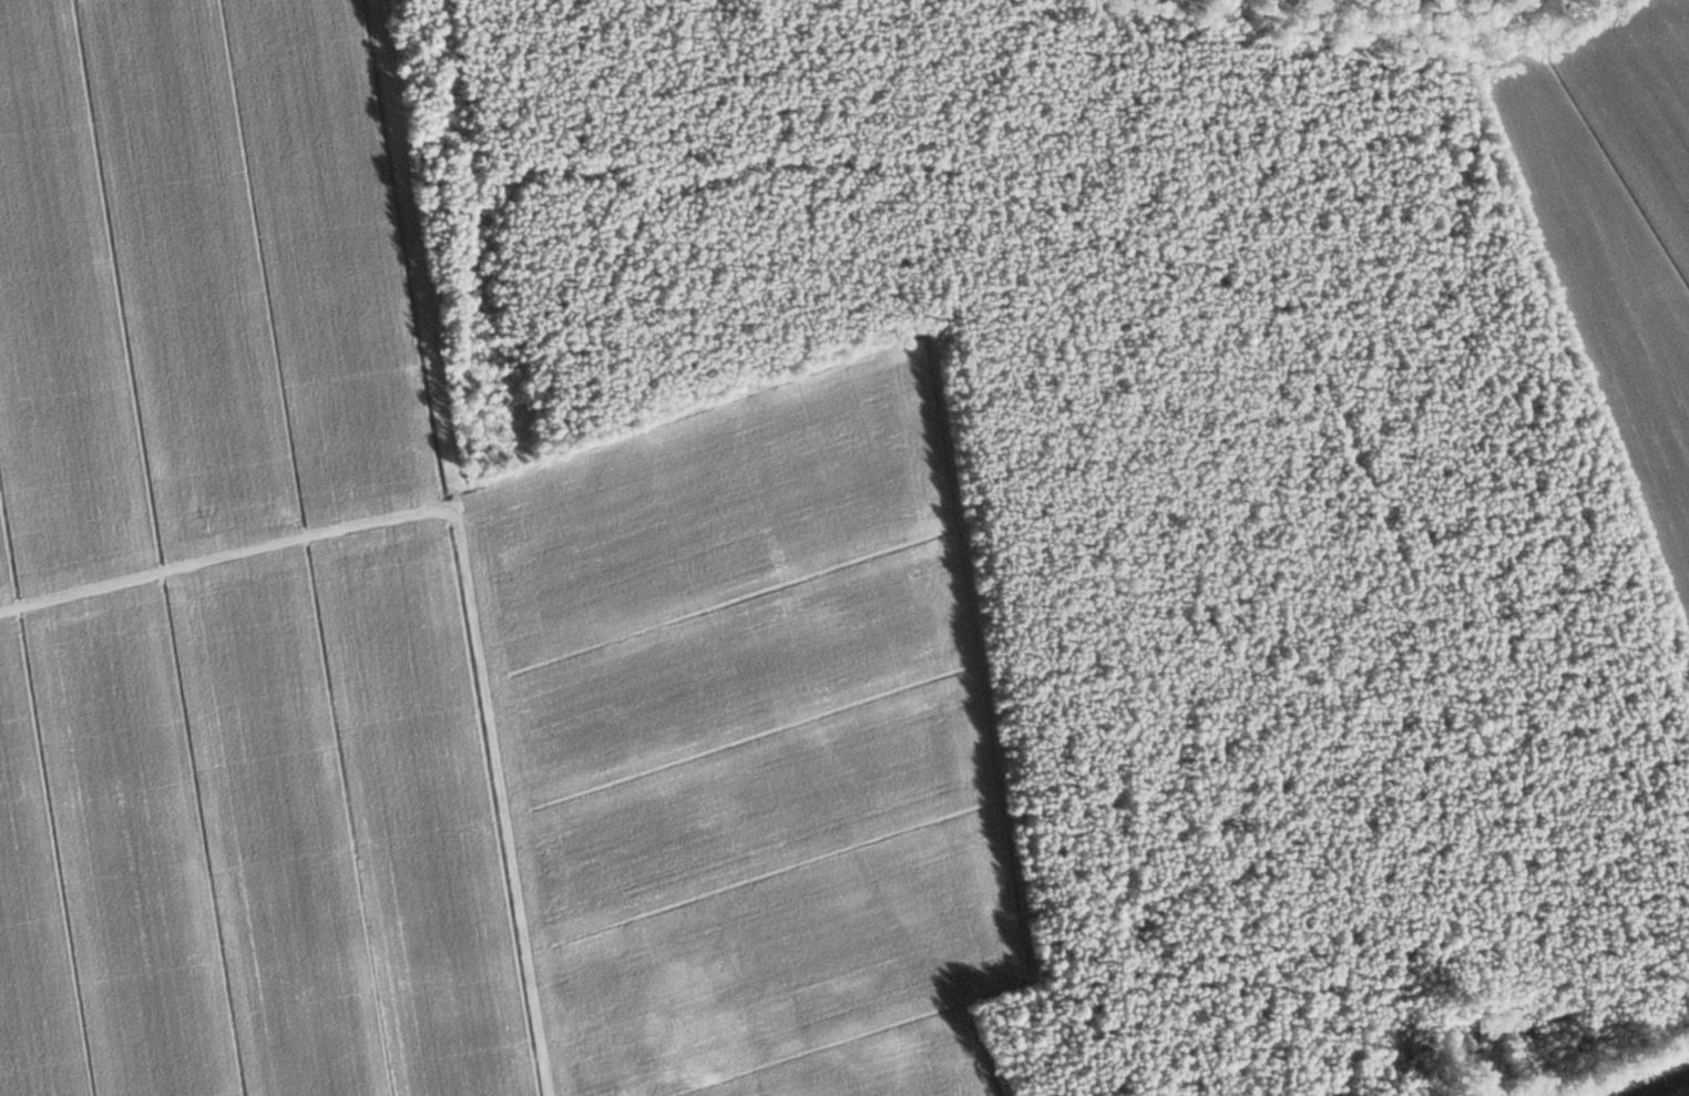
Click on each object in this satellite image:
building: (1477, 1038)
road: (1660, 1084)

